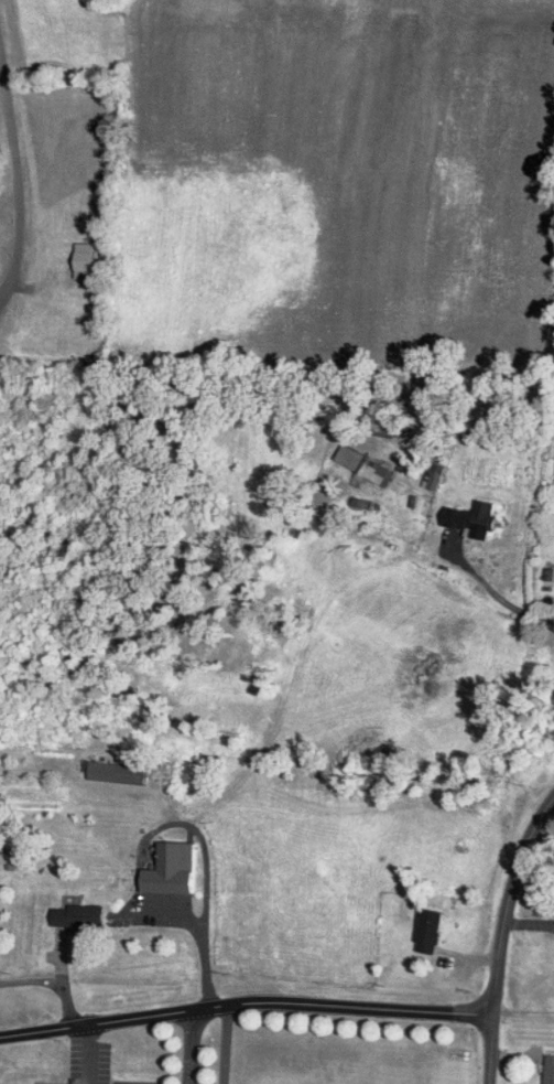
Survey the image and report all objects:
road: (14, 178)
building: (541, 262)
building: (365, 465)
building: (486, 516)
building: (460, 518)
road: (489, 589)
building: (132, 773)
building: (9, 857)
building: (171, 871)
road: (205, 902)
building: (88, 916)
building: (430, 932)
road: (499, 933)
road: (51, 978)
road: (245, 1002)
road: (221, 1044)
road: (189, 1048)
road: (84, 1054)
building: (551, 1070)

